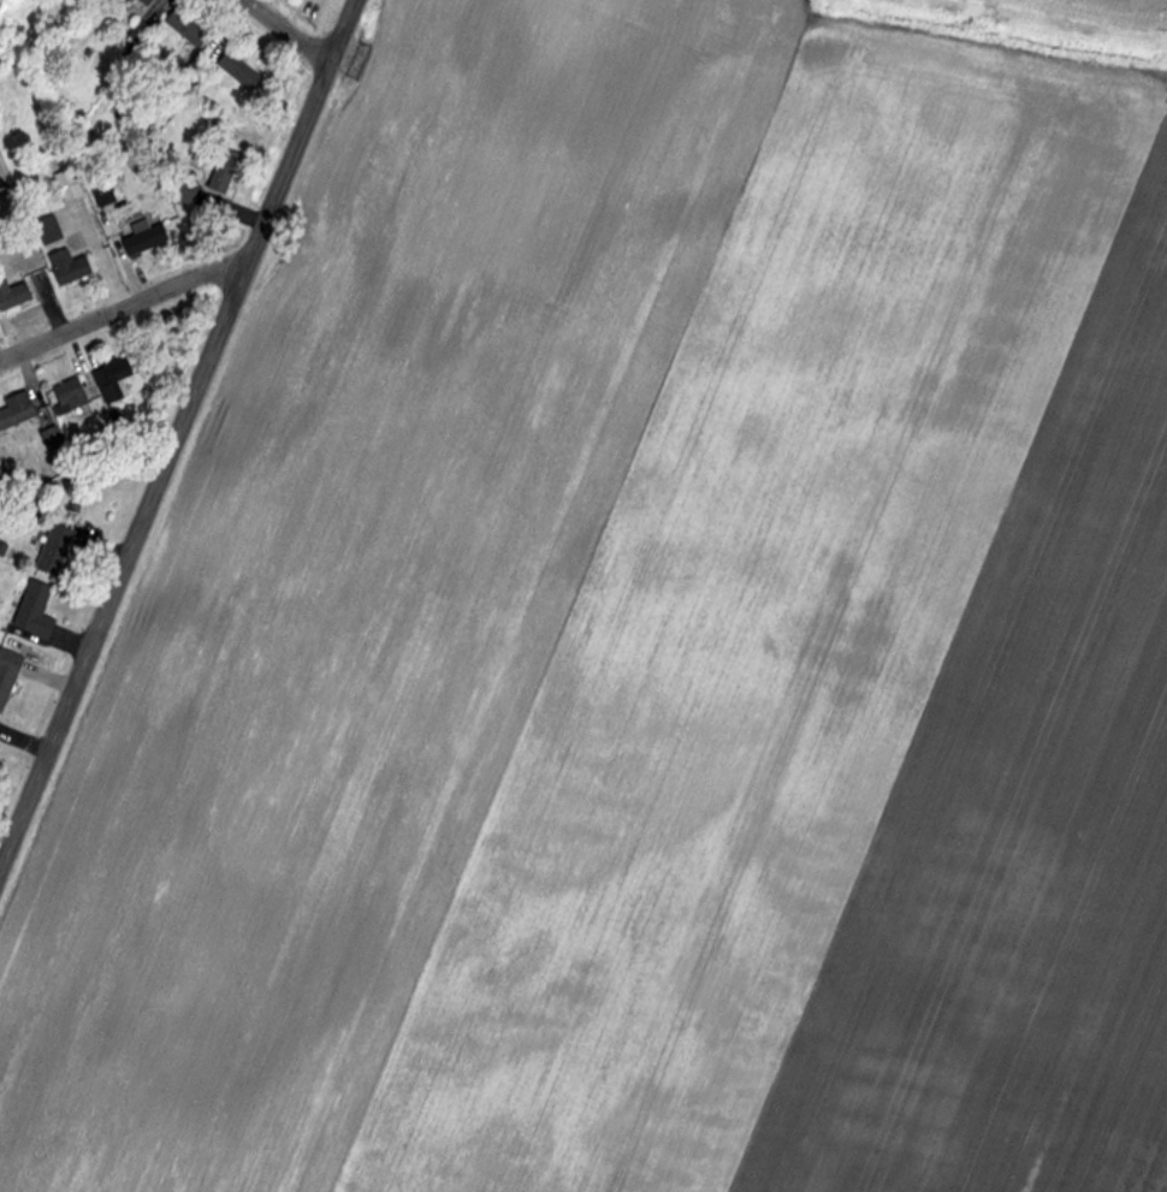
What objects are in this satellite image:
building: (144, 2)
building: (185, 29)
road: (286, 30)
building: (138, 34)
building: (238, 71)
building: (223, 172)
building: (67, 185)
building: (102, 196)
building: (48, 229)
building: (143, 237)
building: (67, 266)
building: (12, 295)
road: (122, 309)
building: (113, 380)
building: (69, 395)
building: (16, 411)
road: (174, 427)
building: (54, 551)
building: (34, 611)
building: (7, 675)

